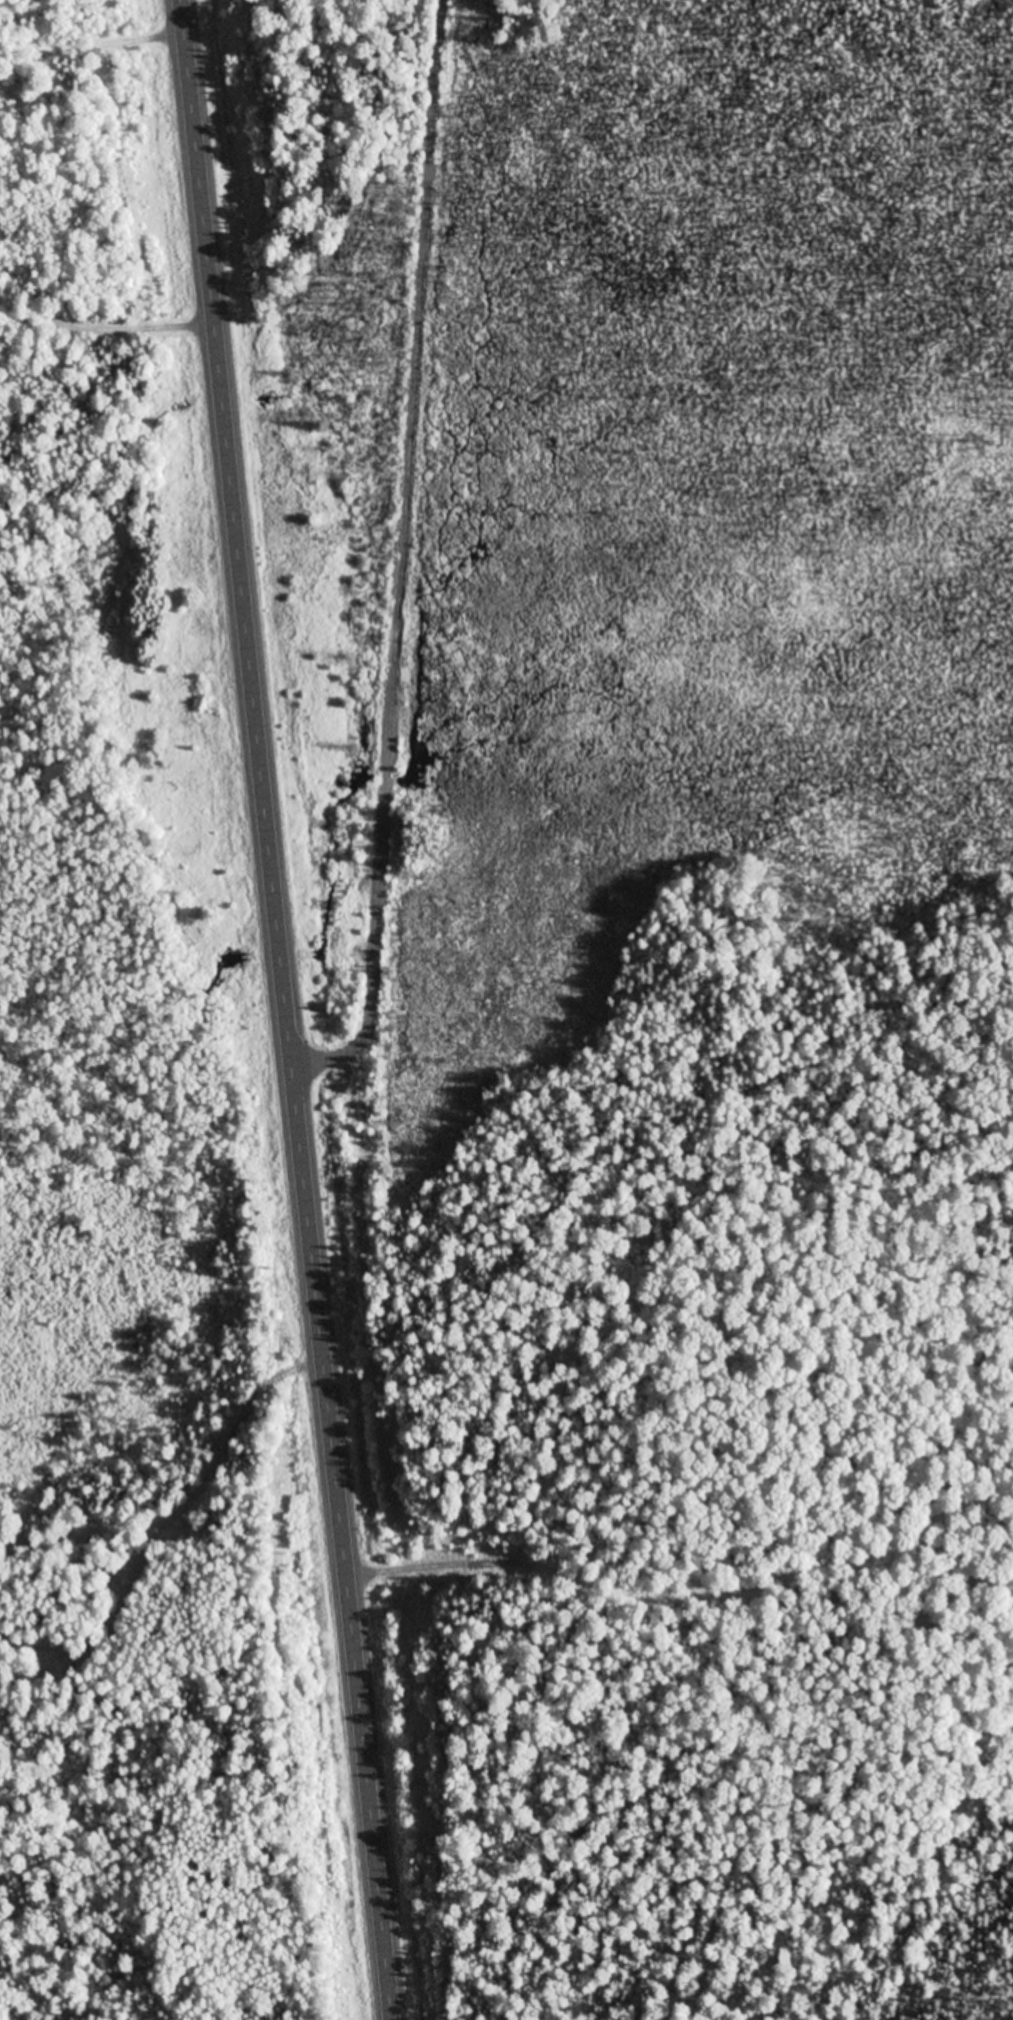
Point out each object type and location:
road: (403, 560)
road: (286, 1009)

